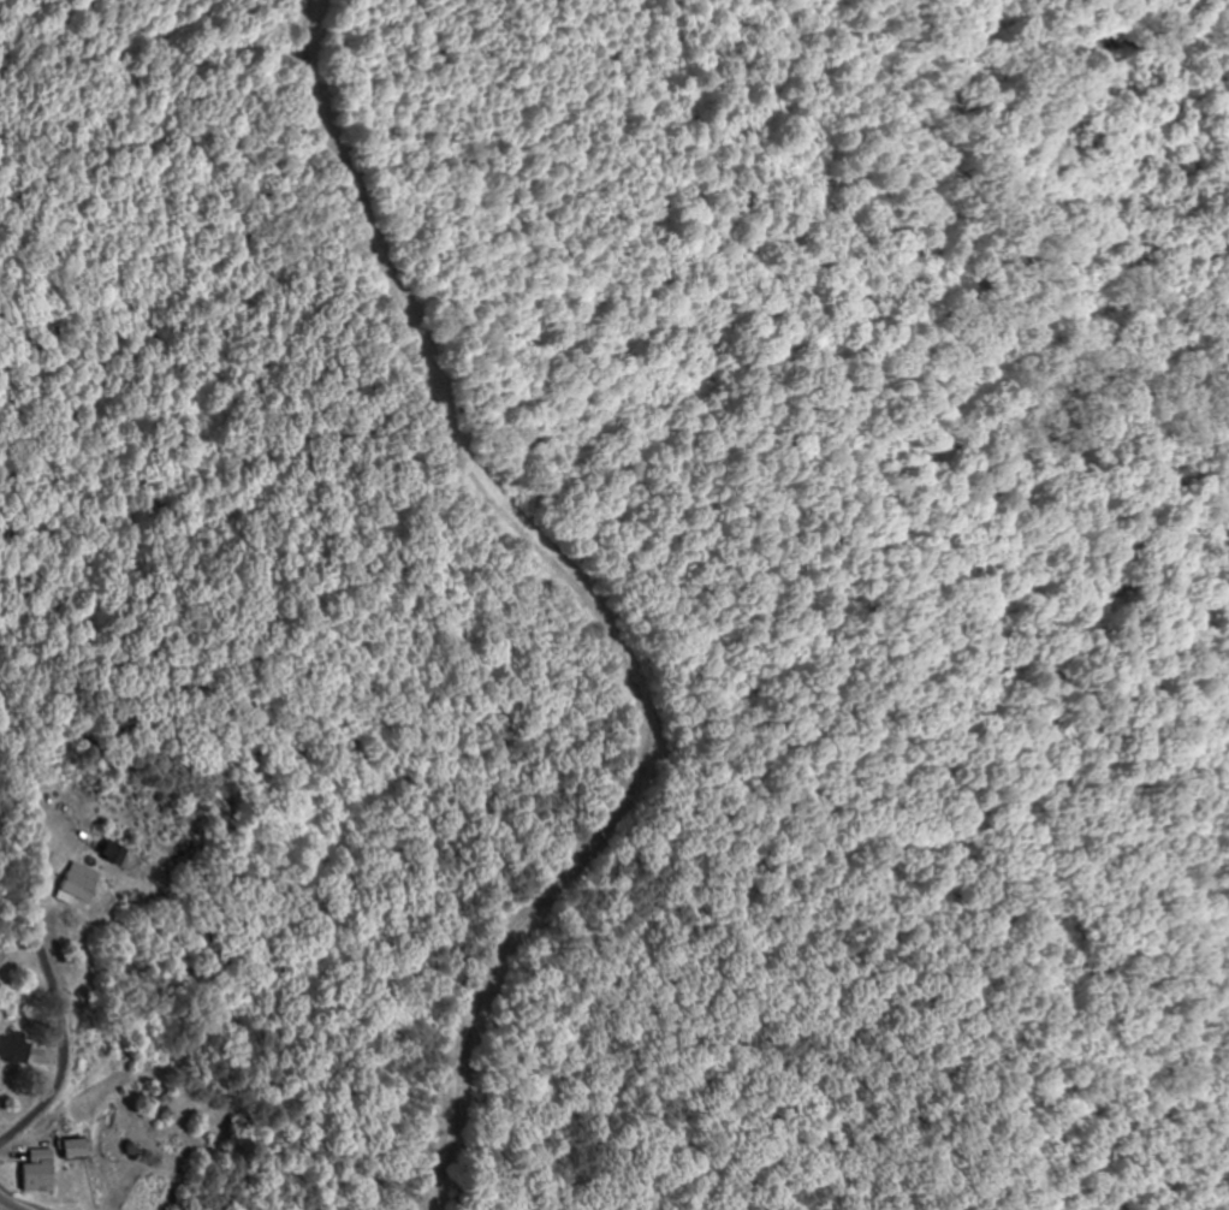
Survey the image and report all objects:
building: (71, 889)
building: (8, 1051)
building: (30, 1172)
road: (16, 1202)

